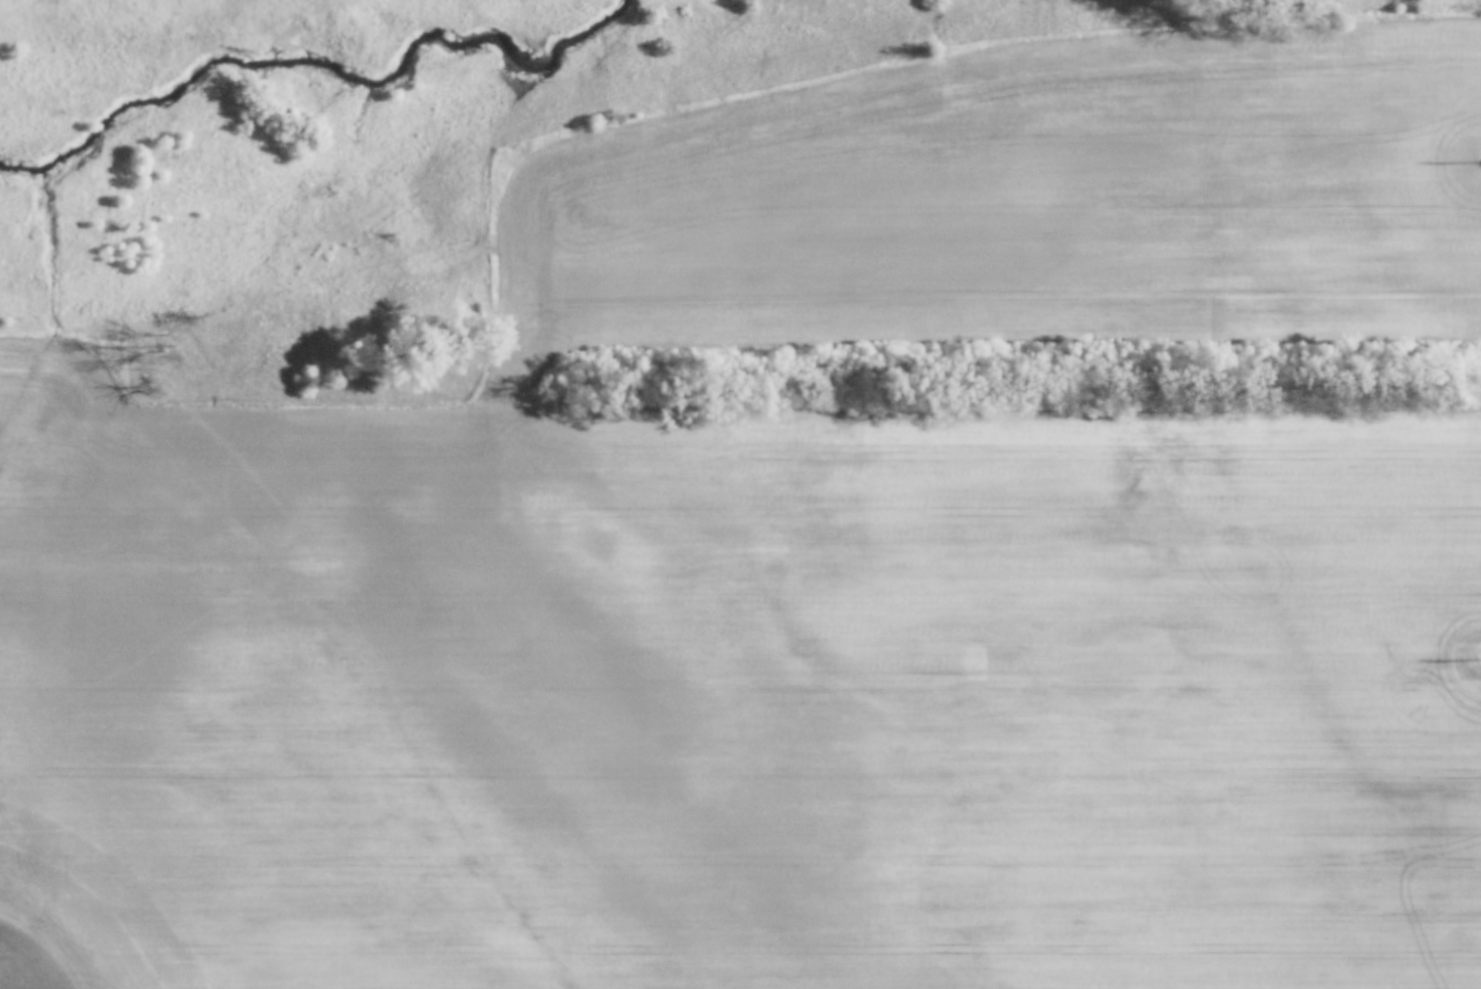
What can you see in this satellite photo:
road: (49, 349)

